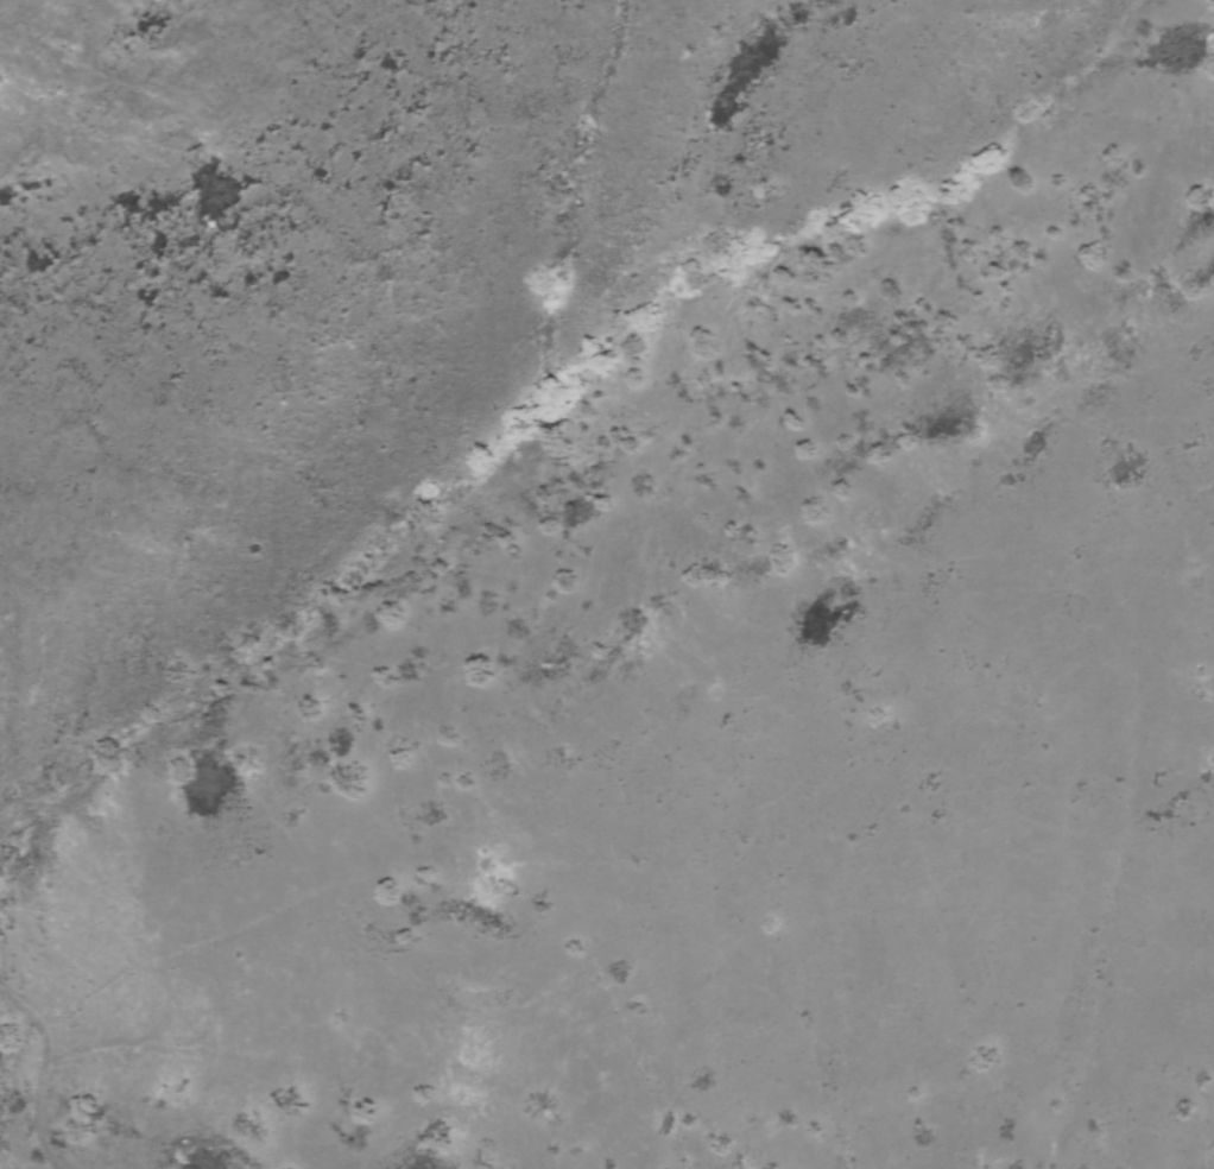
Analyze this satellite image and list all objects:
road: (52, 1067)

